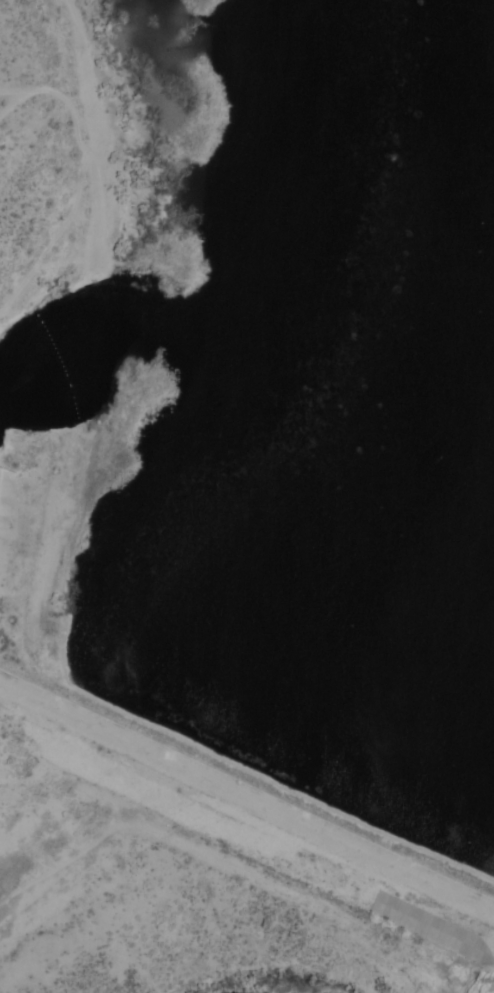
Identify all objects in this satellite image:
dam: (5, 495)
river: (390, 623)
dam: (247, 782)

